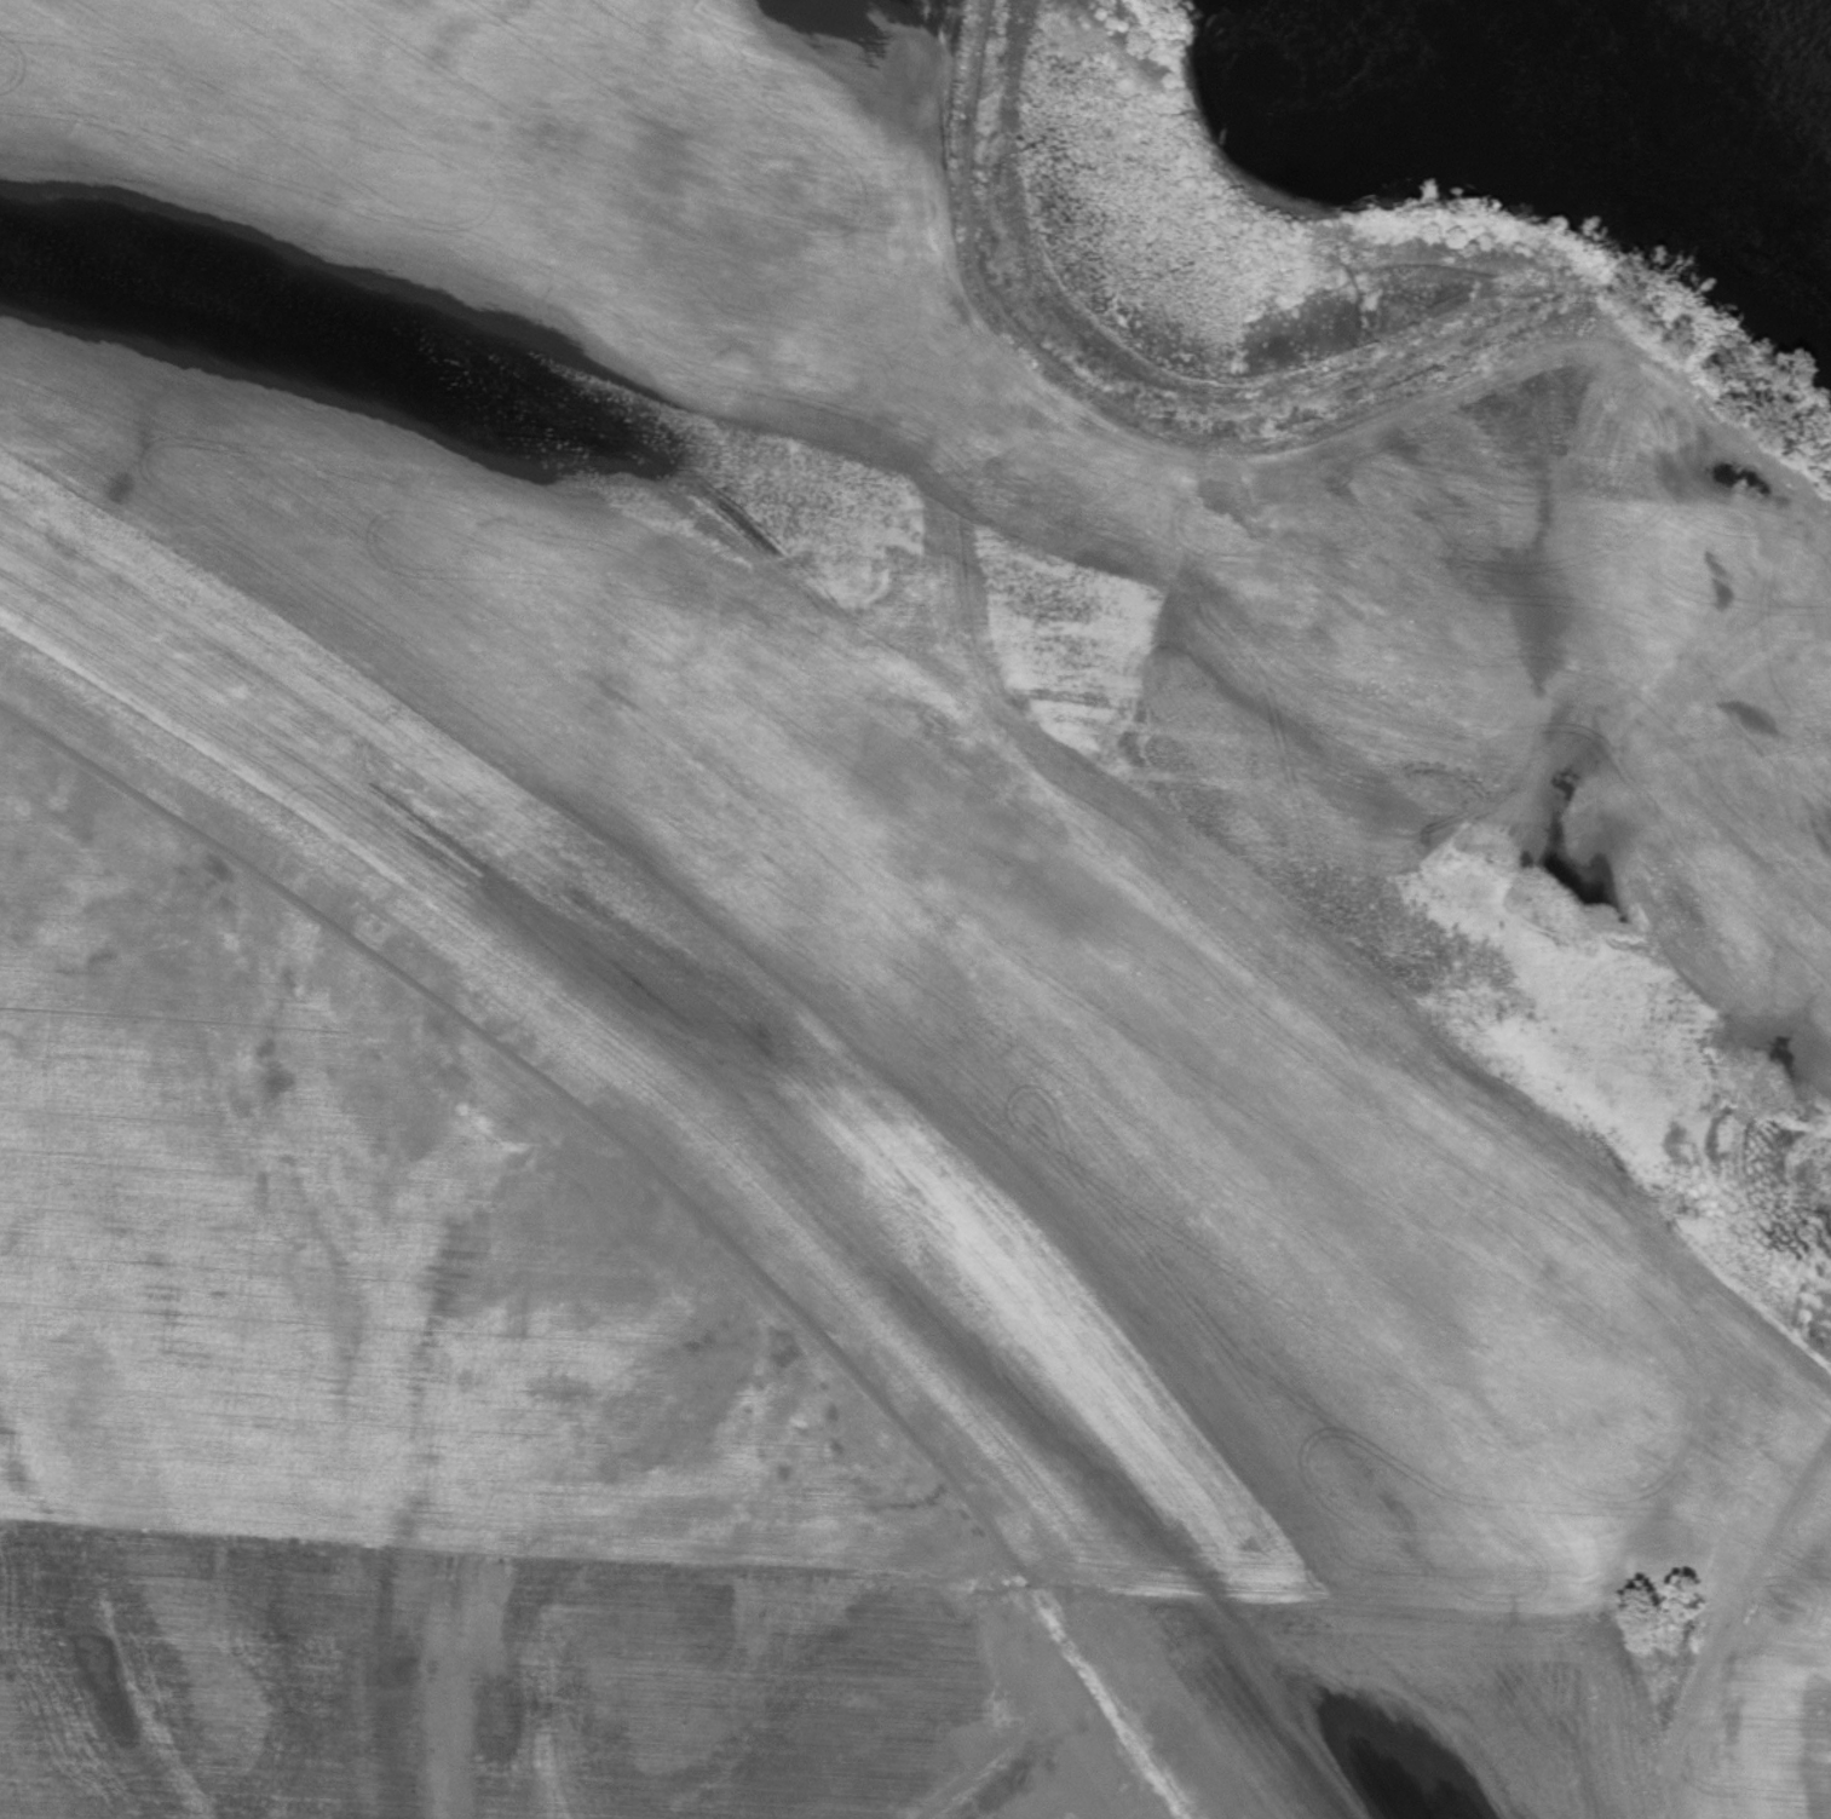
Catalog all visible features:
crop: (1009, 738)
crop: (384, 1242)
crop: (1352, 1687)
crop: (528, 1690)

